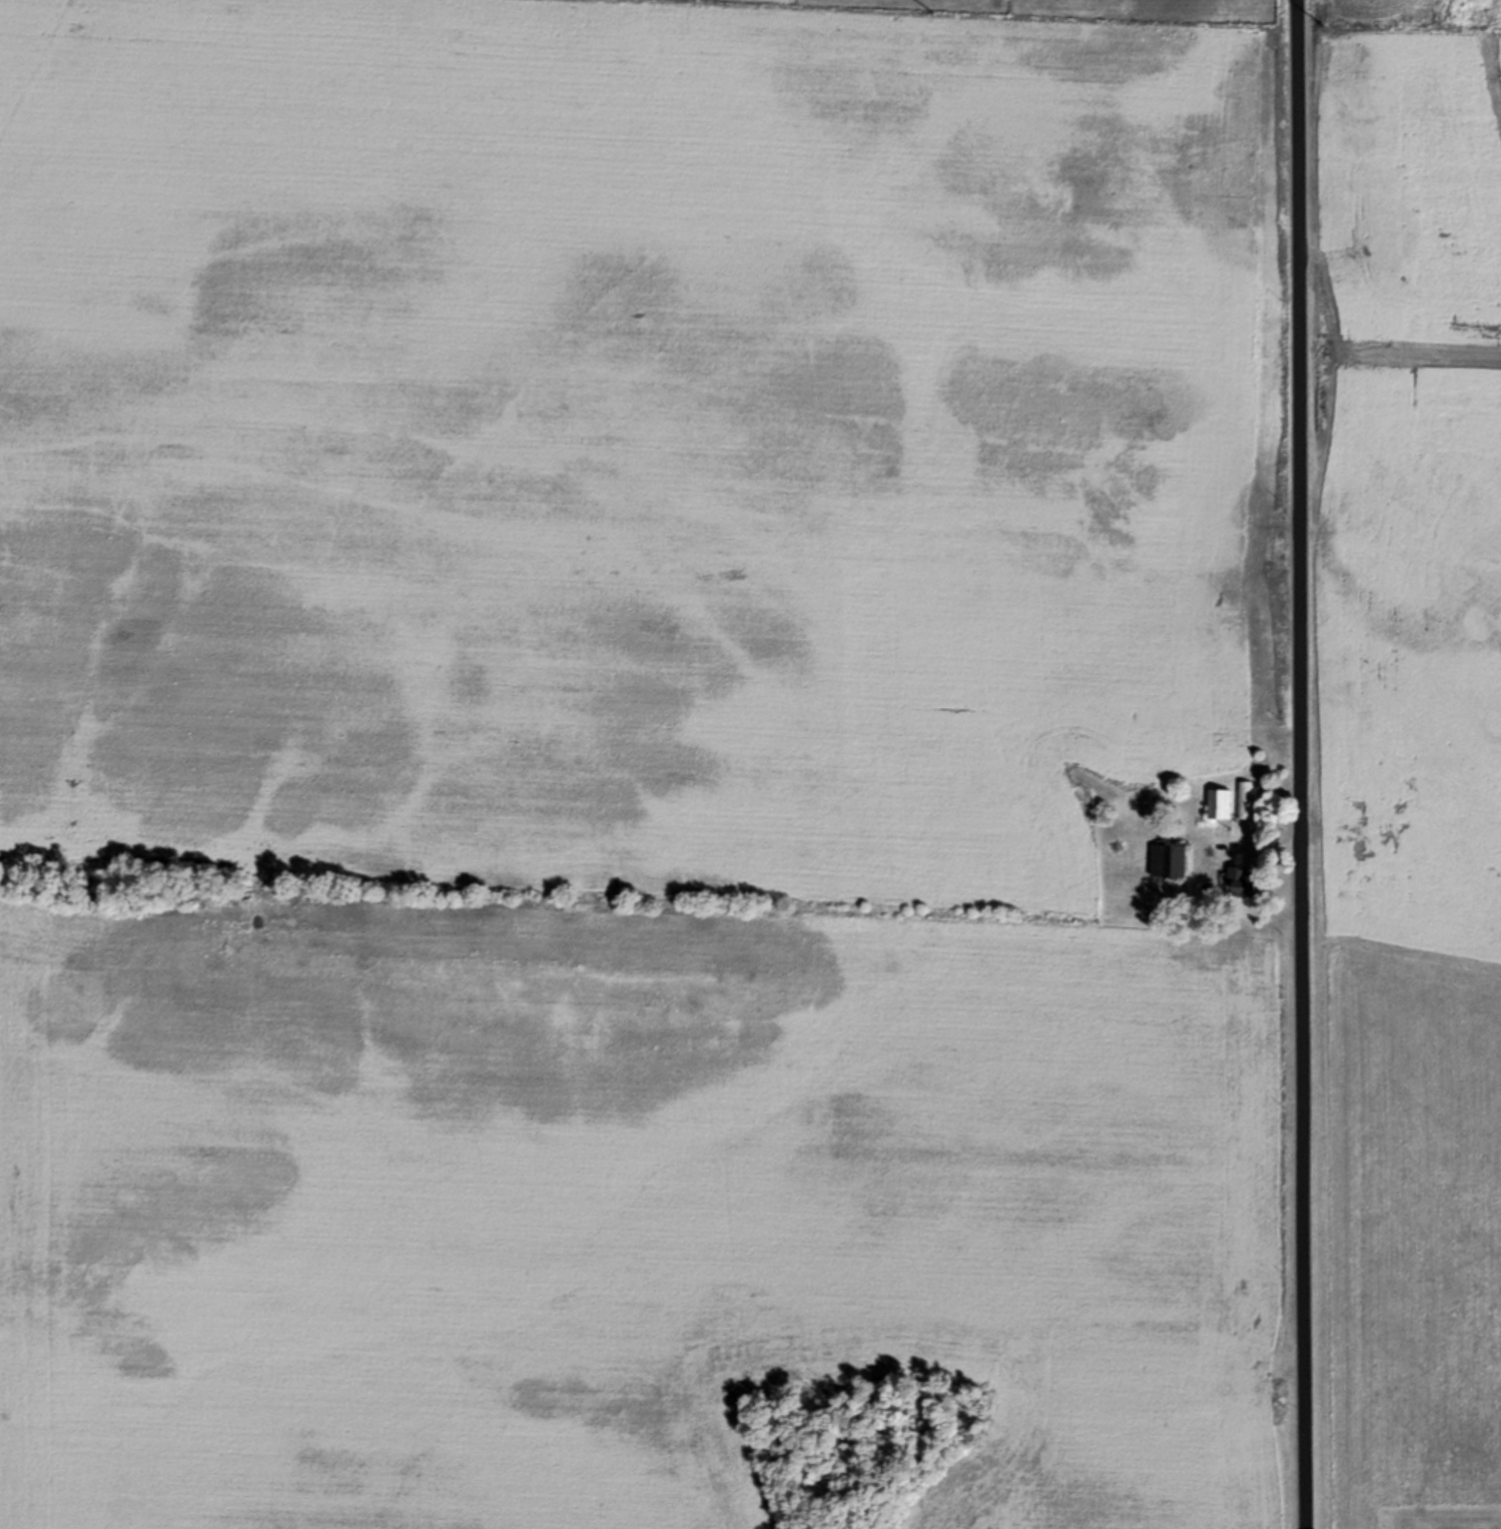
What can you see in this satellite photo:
power tower: (933, 13)
power tower: (1326, 19)
road: (1290, 764)
building: (1244, 798)
building: (1220, 803)
building: (1168, 860)
building: (1244, 882)

